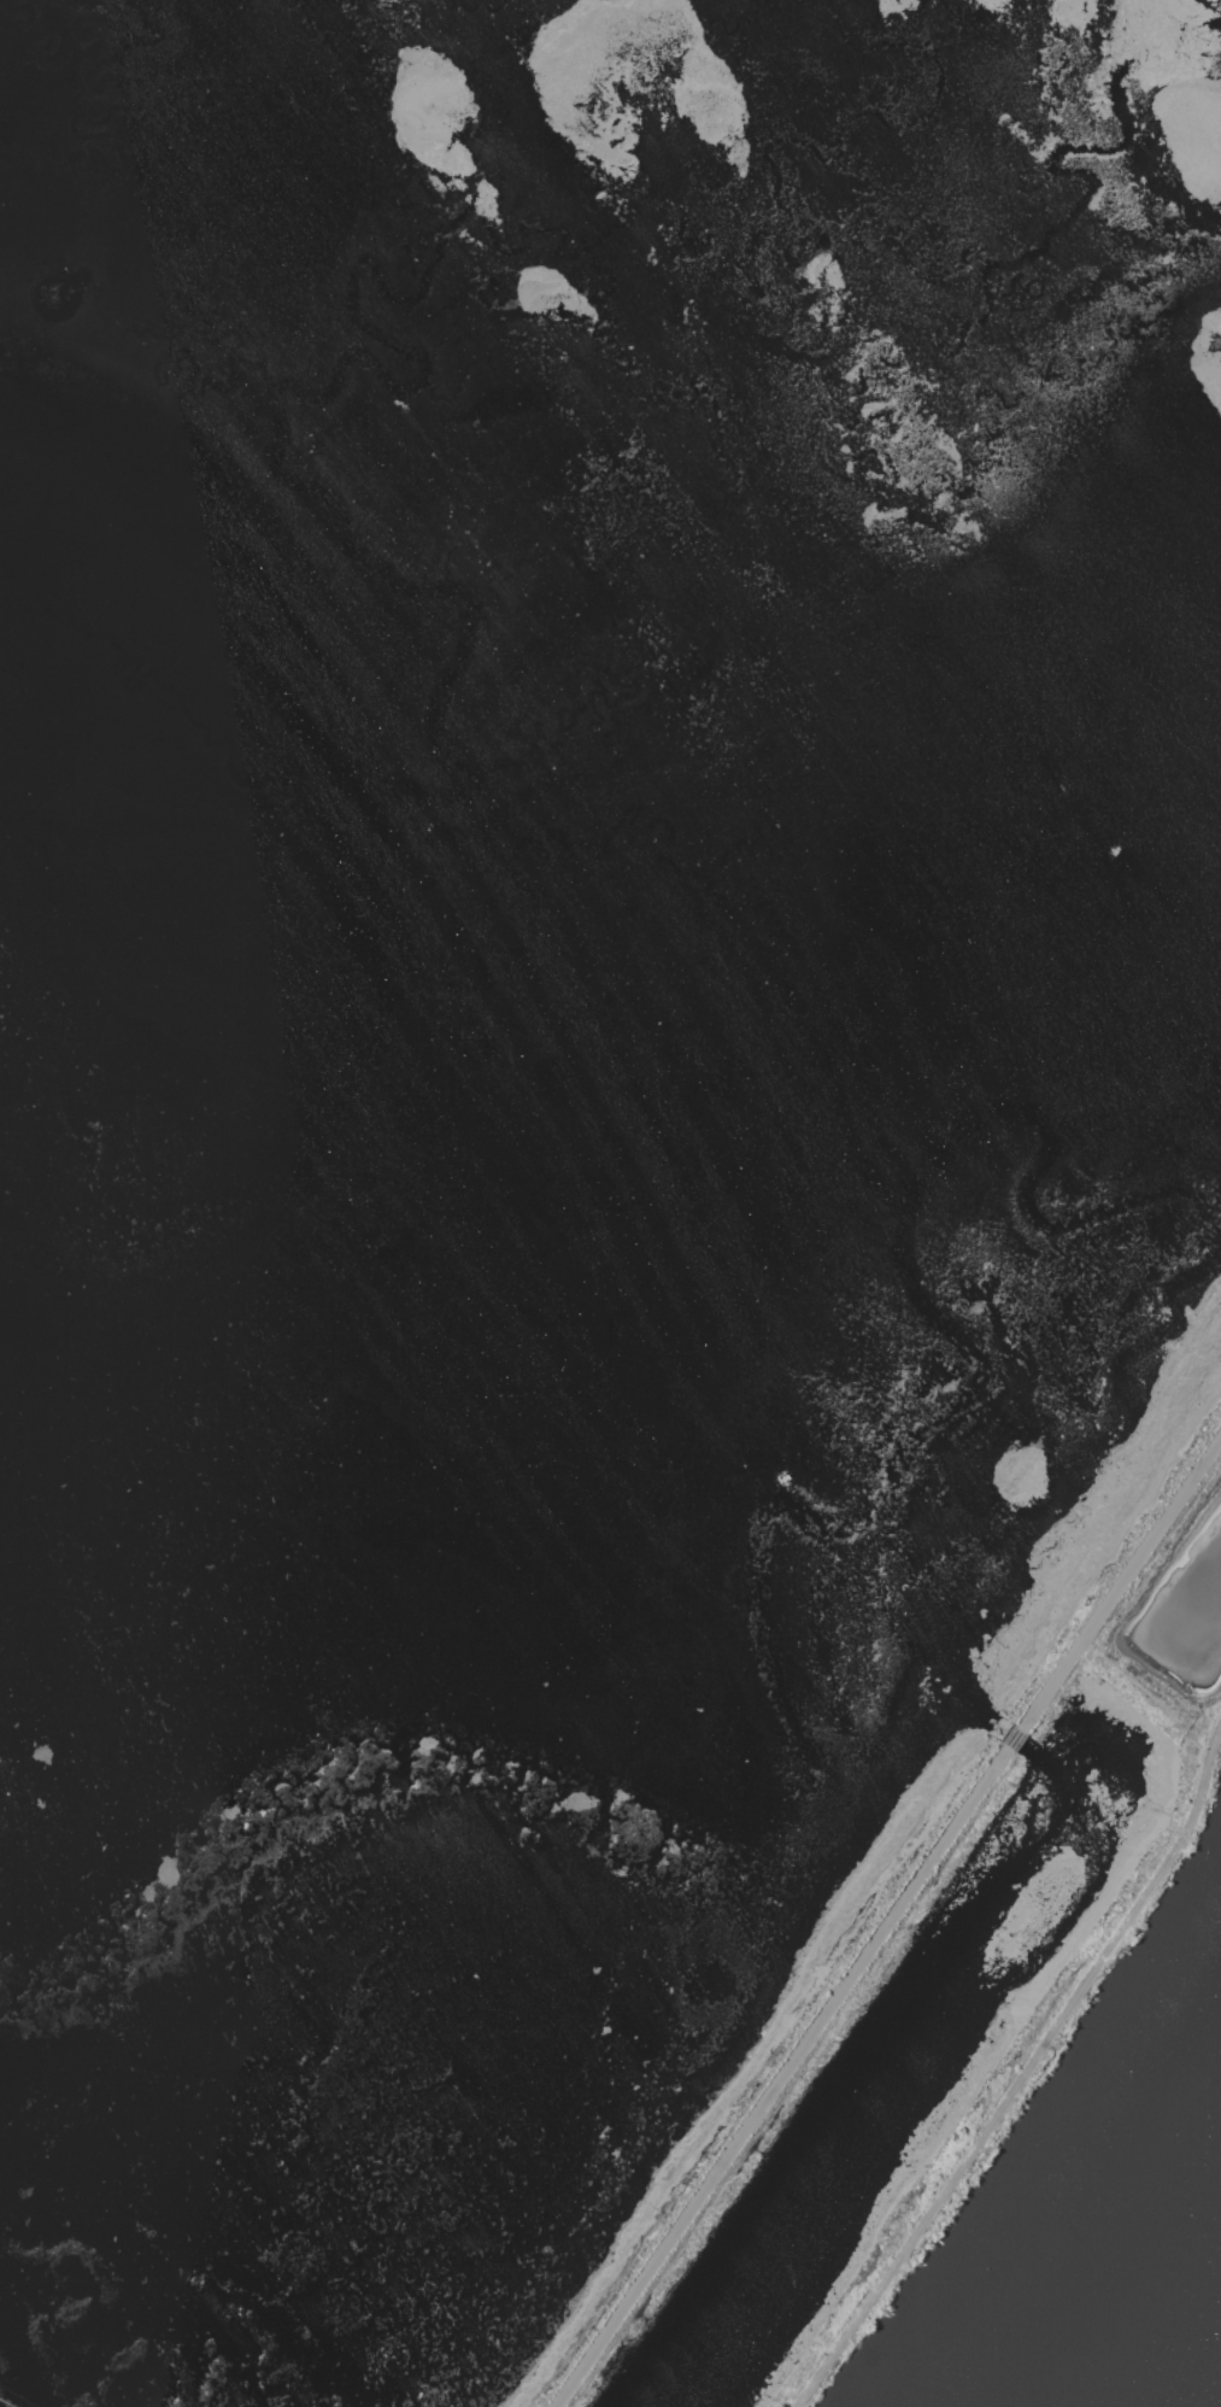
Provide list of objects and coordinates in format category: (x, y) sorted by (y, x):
building: (1061, 786)
building: (1066, 795)
building: (779, 1481)
road: (890, 1925)
road: (1026, 2078)
pier: (5, 2403)

